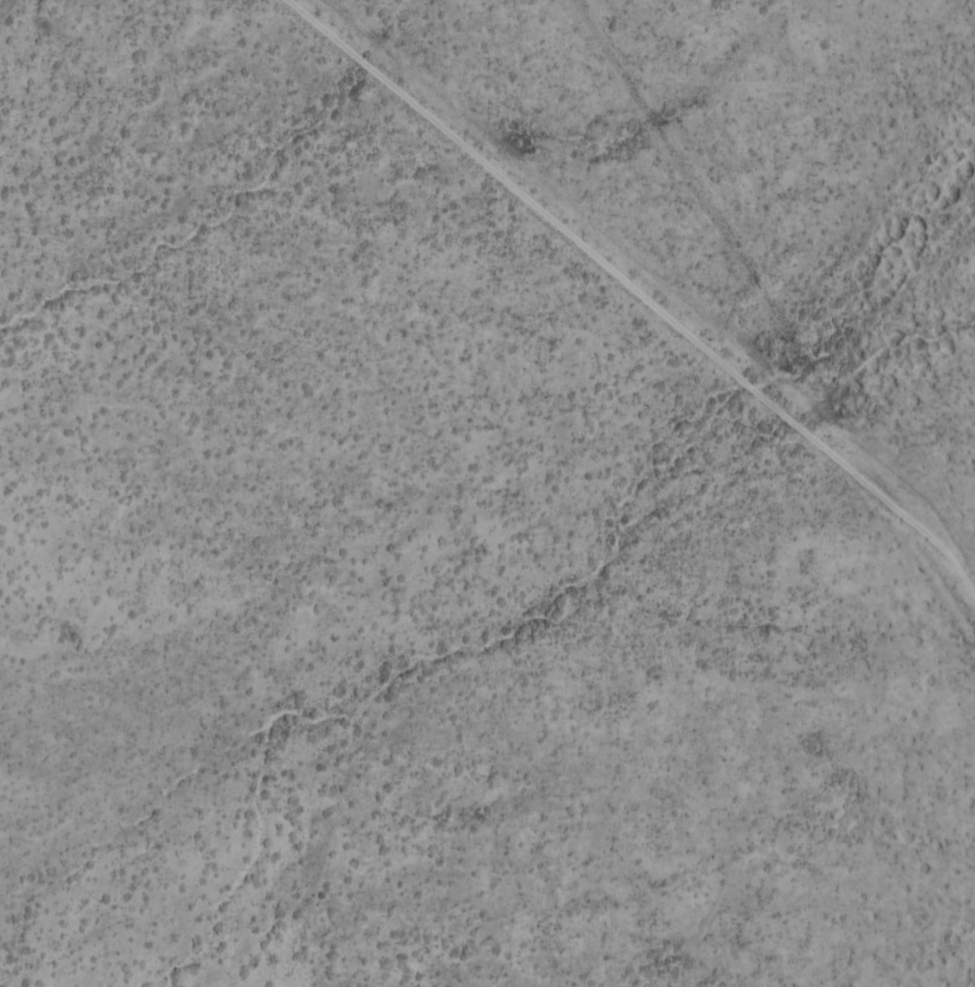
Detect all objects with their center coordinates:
road: (795, 185)

